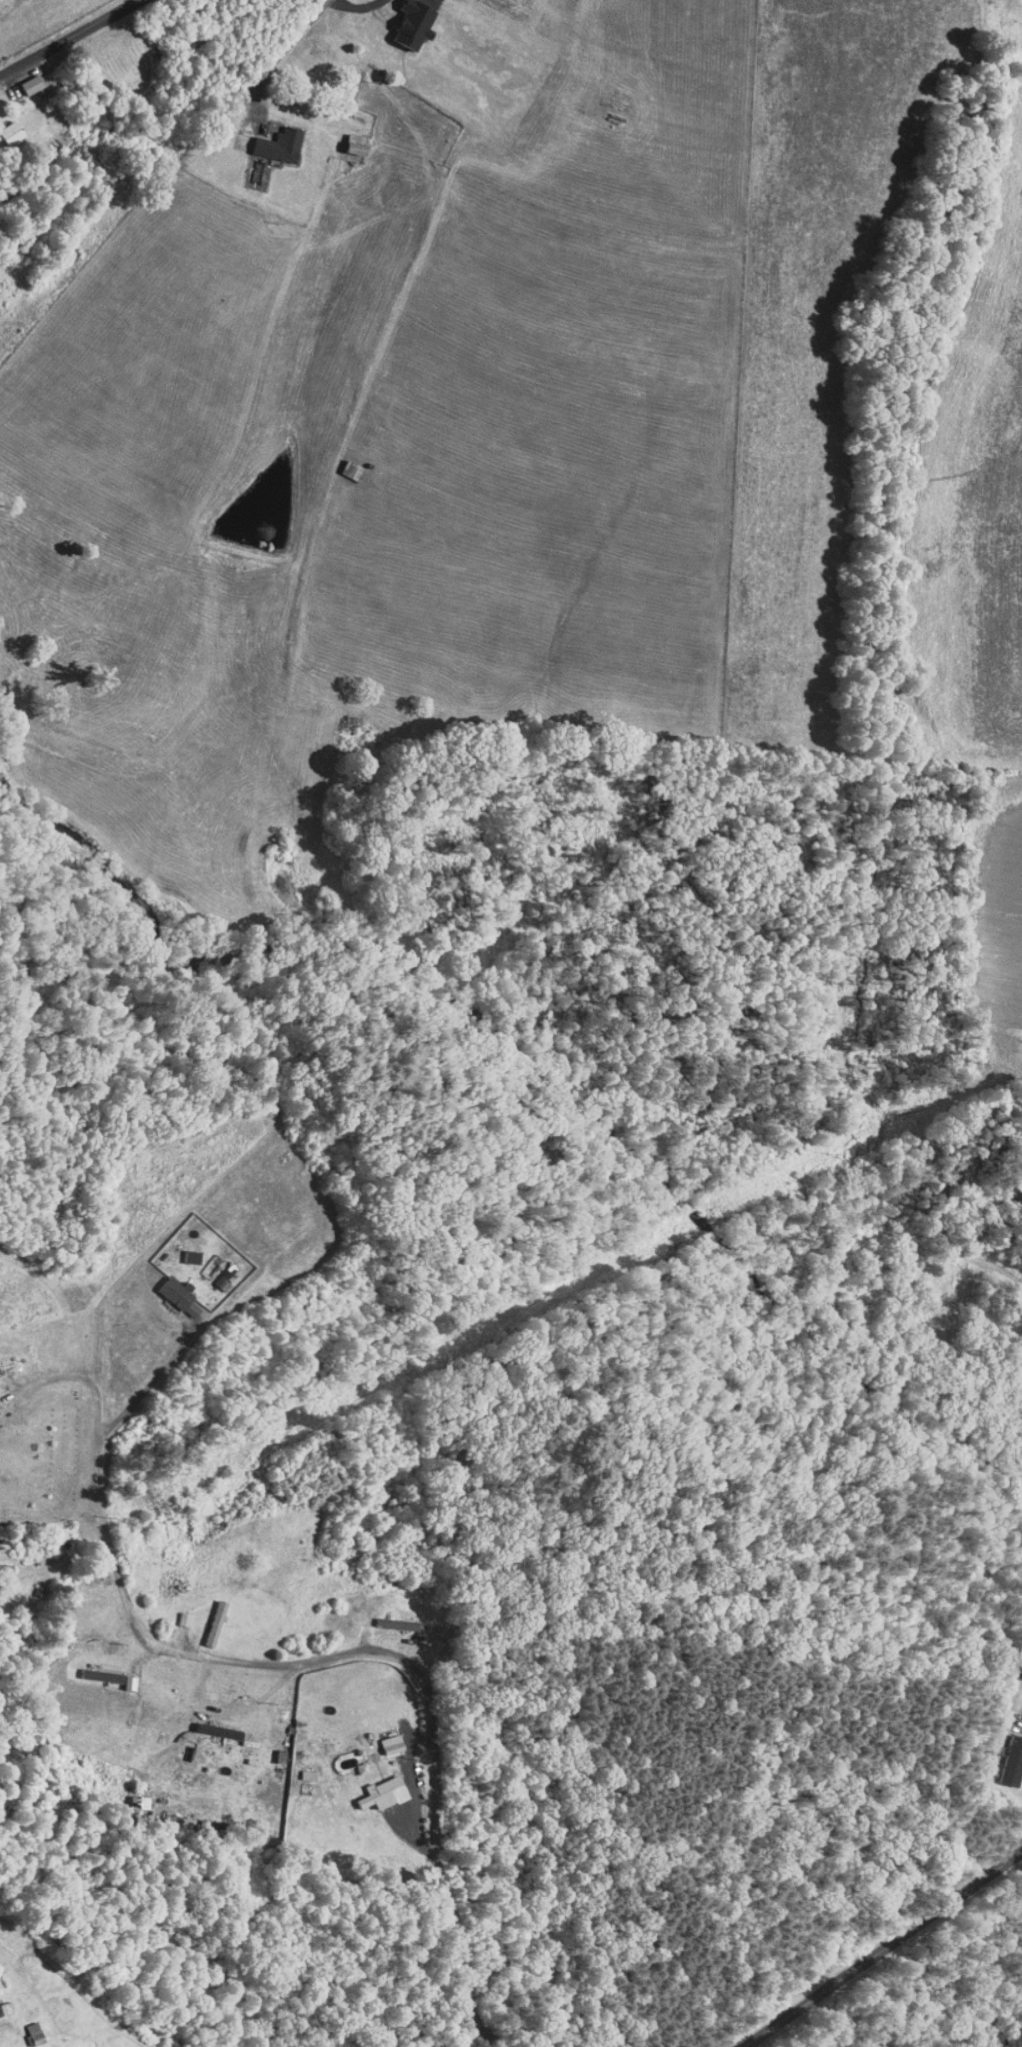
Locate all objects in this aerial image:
building: (405, 19)
road: (69, 36)
road: (286, 53)
building: (5, 125)
building: (347, 138)
building: (270, 139)
building: (182, 1250)
building: (198, 1263)
building: (213, 1275)
building: (170, 1289)
building: (205, 1616)
road: (312, 1664)
building: (93, 1669)
building: (210, 1724)
building: (382, 1737)
building: (271, 1750)
building: (1003, 1754)
building: (352, 1762)
building: (374, 1785)
road: (899, 1962)
building: (0, 2005)
building: (24, 2028)

